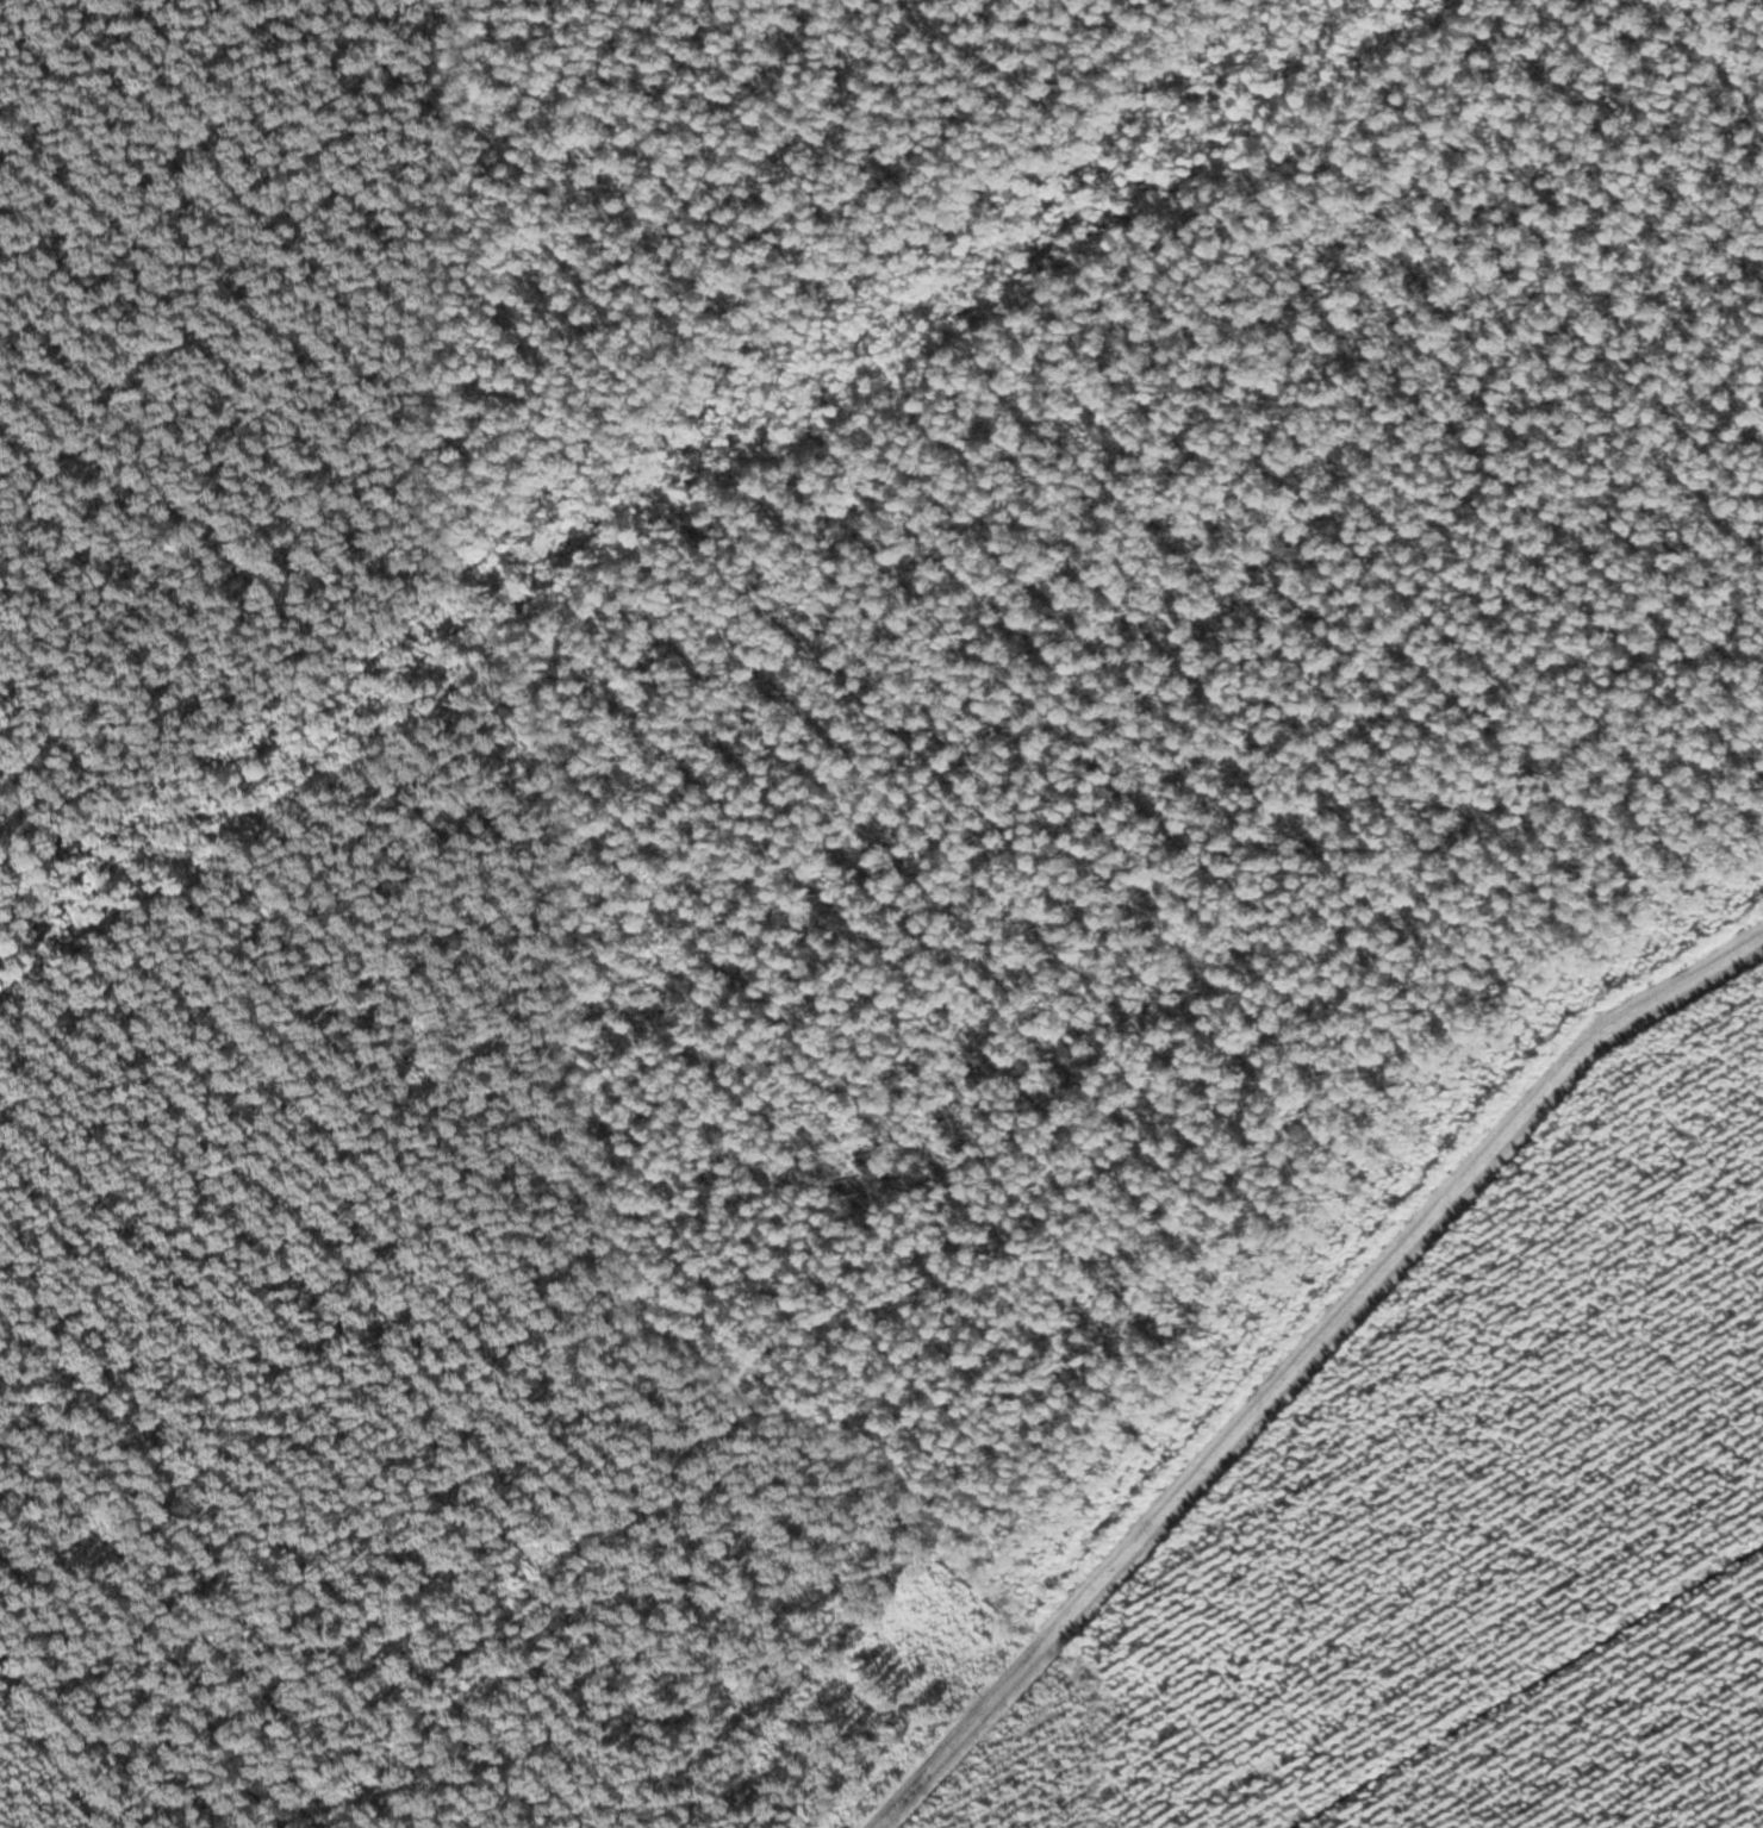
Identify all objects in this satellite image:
road: (1306, 1364)

